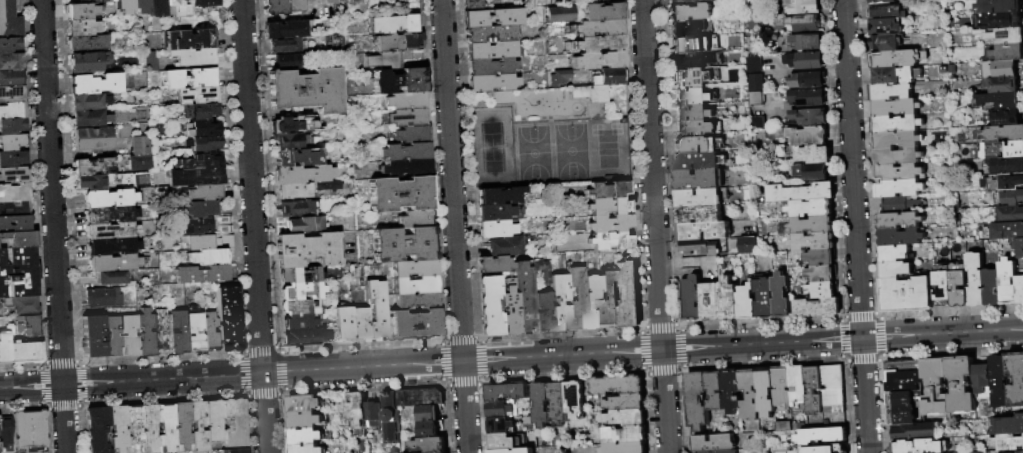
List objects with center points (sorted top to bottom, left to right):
building: (69, 0)
building: (91, 1)
building: (324, 1)
building: (882, 1)
building: (308, 2)
building: (690, 2)
building: (205, 3)
building: (292, 5)
building: (473, 5)
building: (125, 6)
building: (141, 6)
building: (998, 6)
building: (802, 7)
building: (158, 8)
building: (272, 8)
building: (83, 11)
building: (603, 11)
building: (886, 11)
building: (689, 12)
building: (180, 13)
building: (559, 13)
building: (492, 17)
building: (9, 20)
building: (1000, 20)
building: (392, 24)
building: (803, 24)
building: (85, 27)
building: (598, 27)
building: (884, 27)
building: (686, 28)
building: (283, 29)
building: (491, 33)
building: (1002, 35)
building: (190, 39)
building: (331, 42)
building: (397, 42)
building: (807, 42)
building: (88, 43)
building: (598, 43)
building: (887, 43)
building: (10, 45)
building: (686, 45)
building: (283, 46)
building: (490, 49)
building: (1005, 52)
building: (193, 57)
building: (898, 59)
building: (599, 60)
building: (807, 60)
building: (388, 61)
building: (691, 61)
building: (10, 62)
building: (87, 62)
building: (285, 62)
building: (754, 64)
building: (490, 65)
building: (999, 69)
building: (895, 75)
building: (560, 76)
building: (608, 77)
building: (11, 78)
building: (189, 78)
building: (691, 79)
building: (399, 80)
building: (807, 81)
building: (491, 82)
building: (754, 83)
building: (95, 84)
building: (1001, 84)
building: (304, 90)
building: (593, 92)
building: (890, 92)
building: (11, 94)
building: (197, 96)
building: (692, 98)
building: (807, 98)
building: (755, 99)
building: (405, 100)
building: (88, 102)
building: (995, 102)
building: (894, 108)
building: (12, 110)
building: (199, 111)
building: (692, 113)
building: (406, 117)
building: (1003, 117)
building: (809, 118)
building: (89, 119)
road: (542, 119)
building: (292, 123)
building: (757, 123)
building: (895, 124)
building: (12, 126)
building: (201, 129)
building: (697, 129)
building: (1003, 133)
building: (412, 134)
park: (549, 135)
building: (798, 136)
building: (92, 140)
building: (288, 140)
building: (896, 140)
building: (11, 142)
building: (205, 144)
building: (696, 145)
park: (494, 148)
building: (1002, 150)
building: (404, 151)
building: (137, 153)
park: (552, 153)
building: (811, 154)
building: (897, 156)
building: (296, 157)
building: (12, 158)
building: (202, 161)
building: (697, 161)
building: (1006, 166)
building: (92, 167)
building: (405, 167)
building: (809, 172)
building: (898, 172)
building: (301, 174)
building: (13, 175)
building: (194, 177)
building: (698, 180)
building: (92, 182)
building: (1010, 182)
building: (326, 185)
building: (898, 189)
building: (293, 190)
building: (608, 191)
building: (14, 192)
building: (204, 192)
building: (399, 193)
building: (795, 193)
building: (499, 195)
building: (109, 197)
building: (700, 198)
building: (1011, 198)
building: (899, 205)
building: (15, 208)
building: (296, 208)
building: (609, 208)
building: (810, 208)
building: (201, 210)
building: (494, 212)
building: (107, 213)
building: (517, 214)
building: (697, 214)
building: (1009, 215)
building: (414, 218)
building: (899, 221)
building: (610, 223)
building: (15, 224)
building: (304, 224)
building: (205, 225)
road: (53, 226)
road: (254, 226)
road: (454, 226)
road: (654, 226)
building: (807, 226)
road: (854, 226)
building: (495, 229)
building: (110, 230)
building: (704, 231)
building: (1005, 231)
building: (900, 238)
building: (19, 239)
building: (610, 241)
building: (206, 242)
building: (812, 242)
building: (403, 244)
building: (109, 245)
building: (343, 245)
building: (505, 245)
building: (747, 246)
building: (698, 248)
building: (1019, 248)
building: (306, 249)
building: (893, 253)
building: (207, 257)
building: (820, 258)
building: (111, 264)
building: (493, 264)
building: (413, 268)
building: (894, 270)
building: (542, 271)
building: (18, 272)
building: (821, 273)
building: (201, 274)
building: (298, 274)
building: (112, 278)
building: (975, 280)
building: (1007, 282)
building: (959, 283)
building: (414, 284)
building: (943, 286)
building: (992, 288)
building: (300, 290)
building: (822, 290)
building: (1019, 290)
building: (628, 293)
building: (905, 295)
building: (524, 296)
building: (780, 296)
building: (763, 297)
building: (101, 298)
building: (576, 299)
building: (615, 299)
building: (690, 299)
building: (726, 299)
building: (415, 300)
building: (709, 302)
building: (745, 302)
building: (592, 303)
building: (21, 304)
building: (559, 304)
building: (490, 306)
building: (299, 307)
building: (817, 308)
building: (375, 310)
building: (509, 311)
building: (542, 311)
building: (227, 317)
building: (296, 322)
building: (342, 322)
building: (359, 323)
building: (28, 324)
building: (414, 325)
building: (193, 331)
building: (209, 332)
building: (144, 333)
building: (160, 333)
building: (177, 333)
building: (128, 335)
building: (93, 336)
building: (112, 336)
building: (303, 337)
building: (4, 348)
building: (24, 352)
road: (511, 358)
building: (904, 376)
building: (981, 378)
building: (1019, 381)
building: (998, 382)
building: (960, 384)
building: (797, 385)
building: (616, 386)
building: (934, 386)
building: (782, 387)
building: (715, 390)
building: (833, 390)
building: (814, 391)
building: (508, 392)
building: (731, 392)
building: (765, 392)
building: (749, 395)
building: (420, 398)
building: (574, 399)
building: (696, 401)
building: (626, 403)
building: (303, 404)
building: (558, 404)
building: (541, 405)
building: (904, 406)
building: (358, 409)
building: (500, 410)
building: (374, 414)
building: (429, 414)
building: (390, 417)
building: (626, 418)
building: (214, 420)
building: (304, 421)
building: (235, 423)
building: (182, 425)
building: (167, 426)
building: (199, 426)
building: (501, 426)
building: (1007, 426)
building: (789, 427)
building: (118, 428)
building: (135, 428)
building: (150, 428)
building: (30, 429)
building: (98, 429)
building: (430, 429)
building: (913, 431)
building: (6, 432)
building: (624, 436)
building: (305, 437)
building: (821, 437)
building: (502, 442)
building: (1006, 442)
building: (714, 444)
building: (429, 445)
building: (918, 447)
building: (626, 448)
building: (306, 449)
building: (815, 449)
building: (238, 451)
building: (501, 451)
building: (1019, 451)
building: (43, 452)
building: (724, 452)
building: (977, 452)

